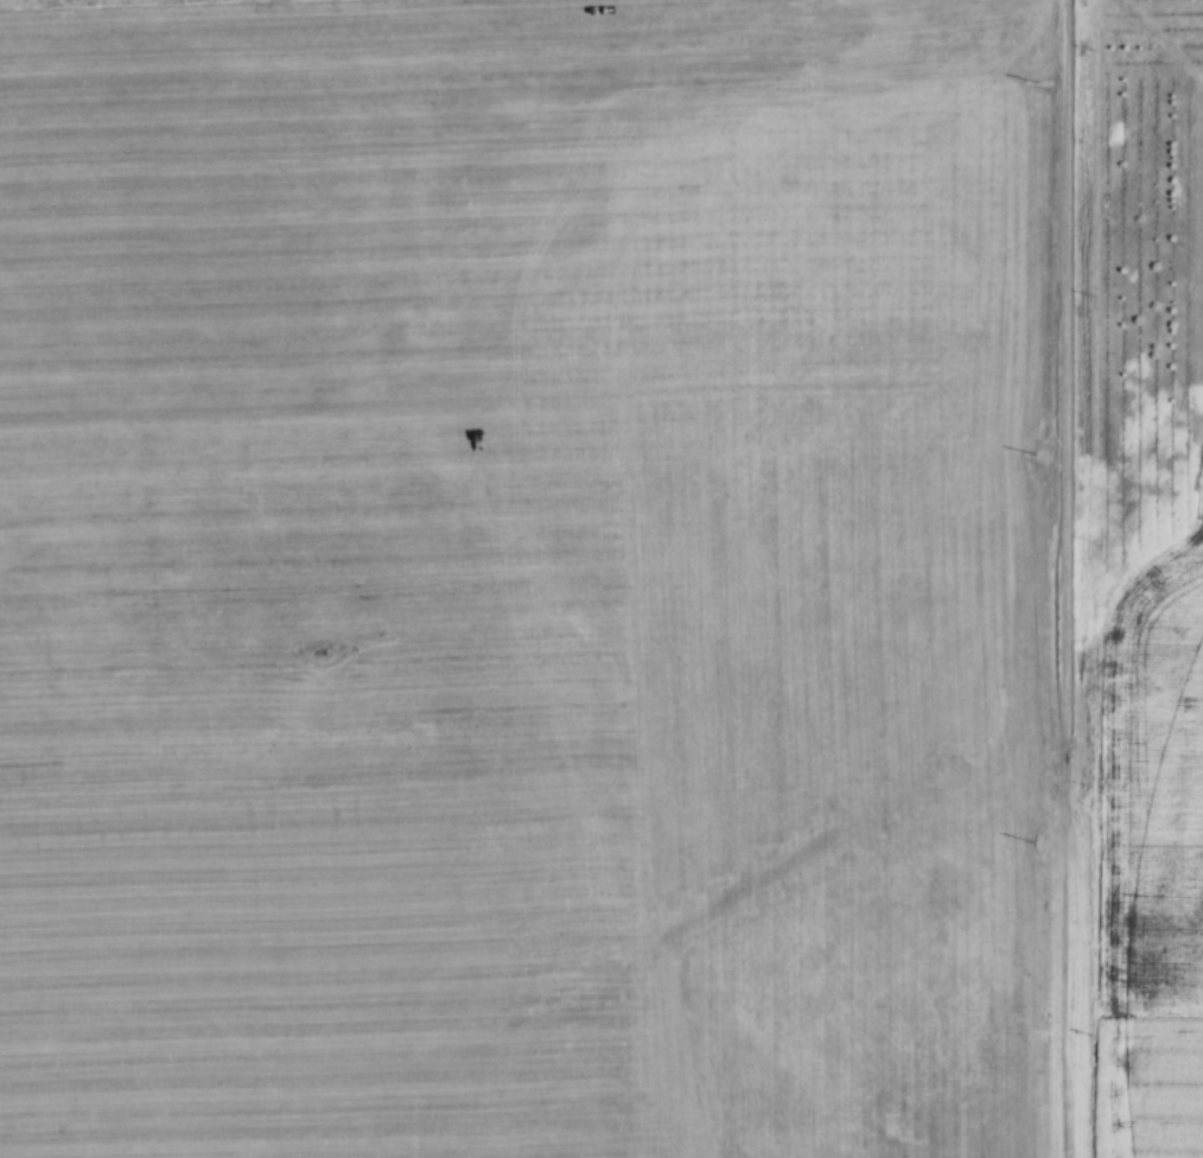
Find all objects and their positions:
road: (1068, 579)

